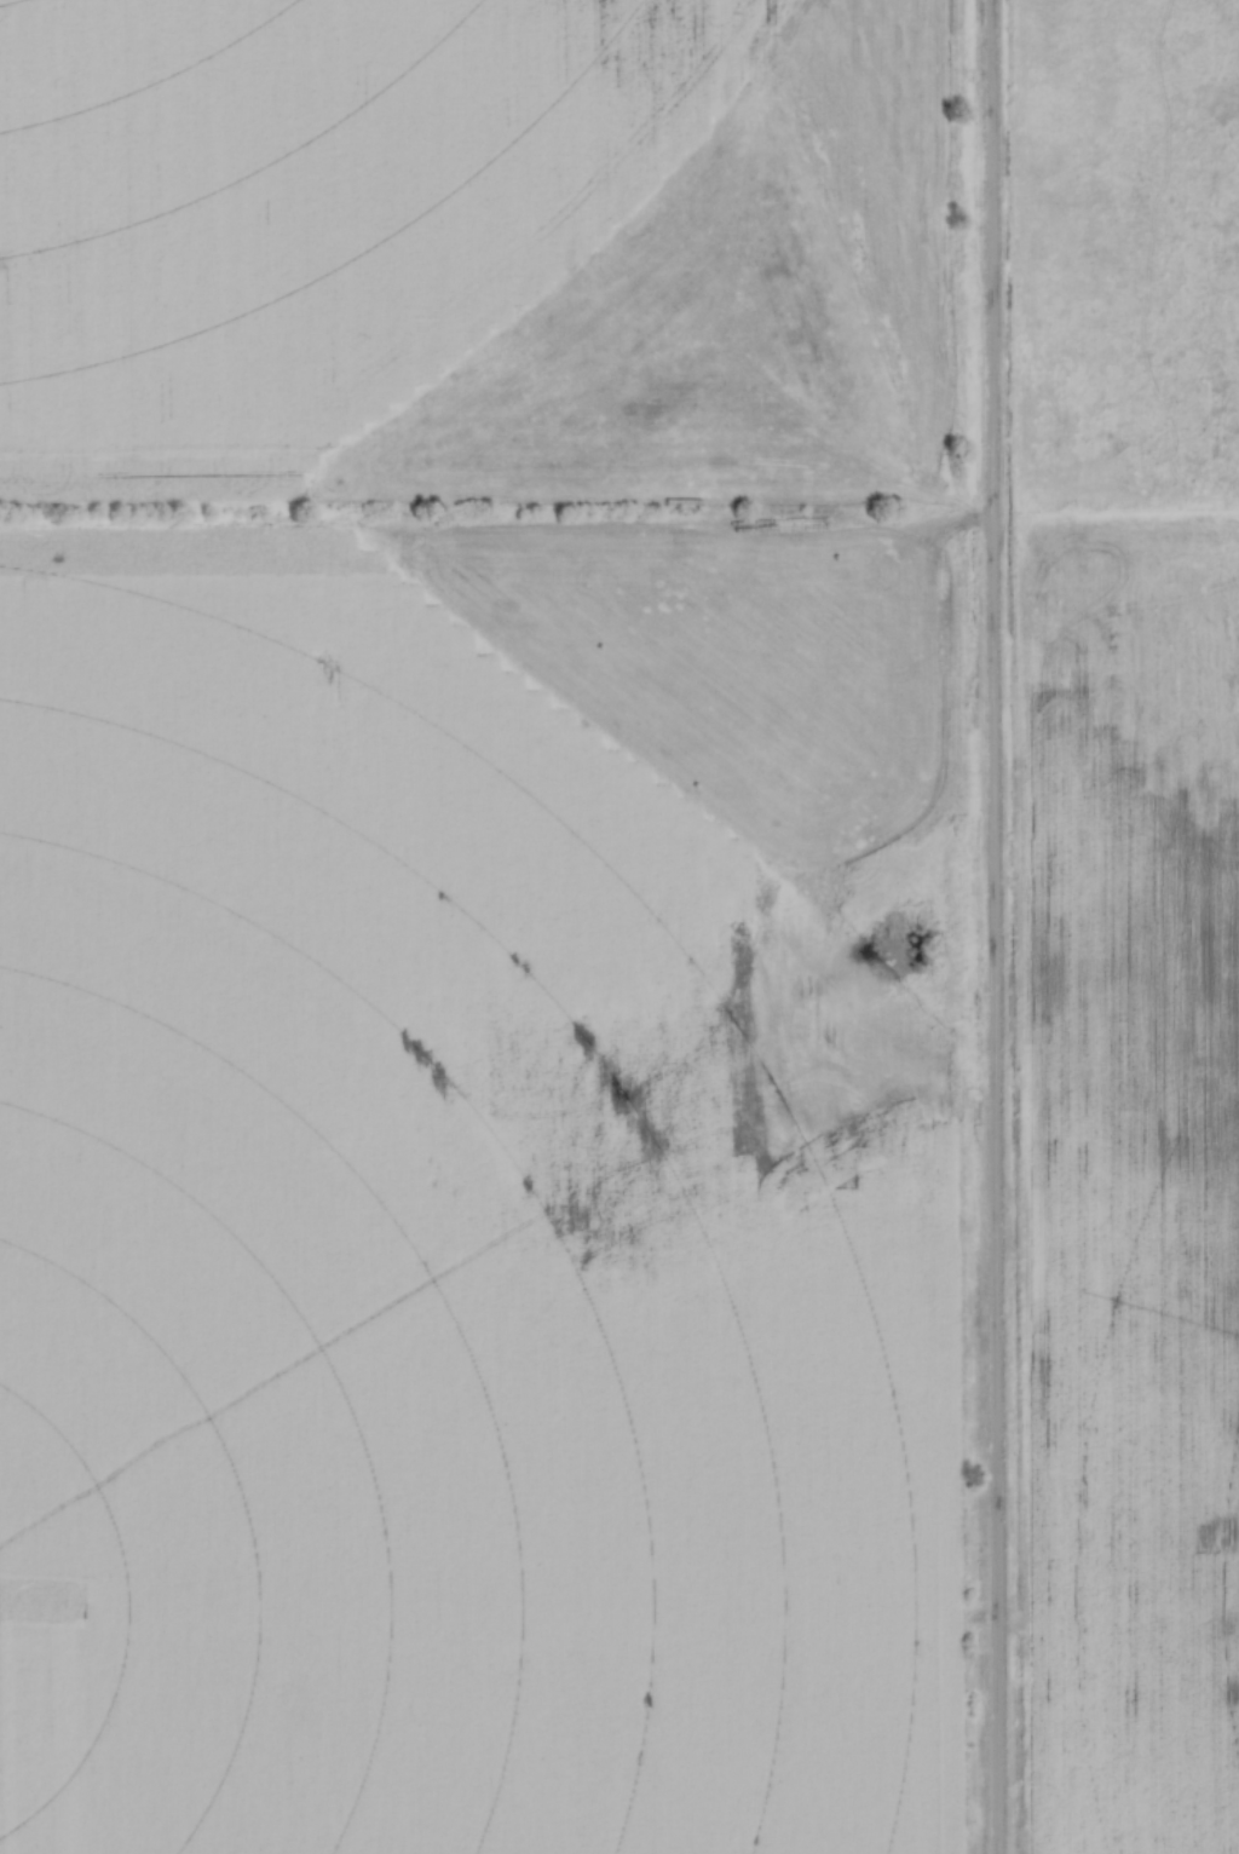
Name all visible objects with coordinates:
road: (993, 926)

